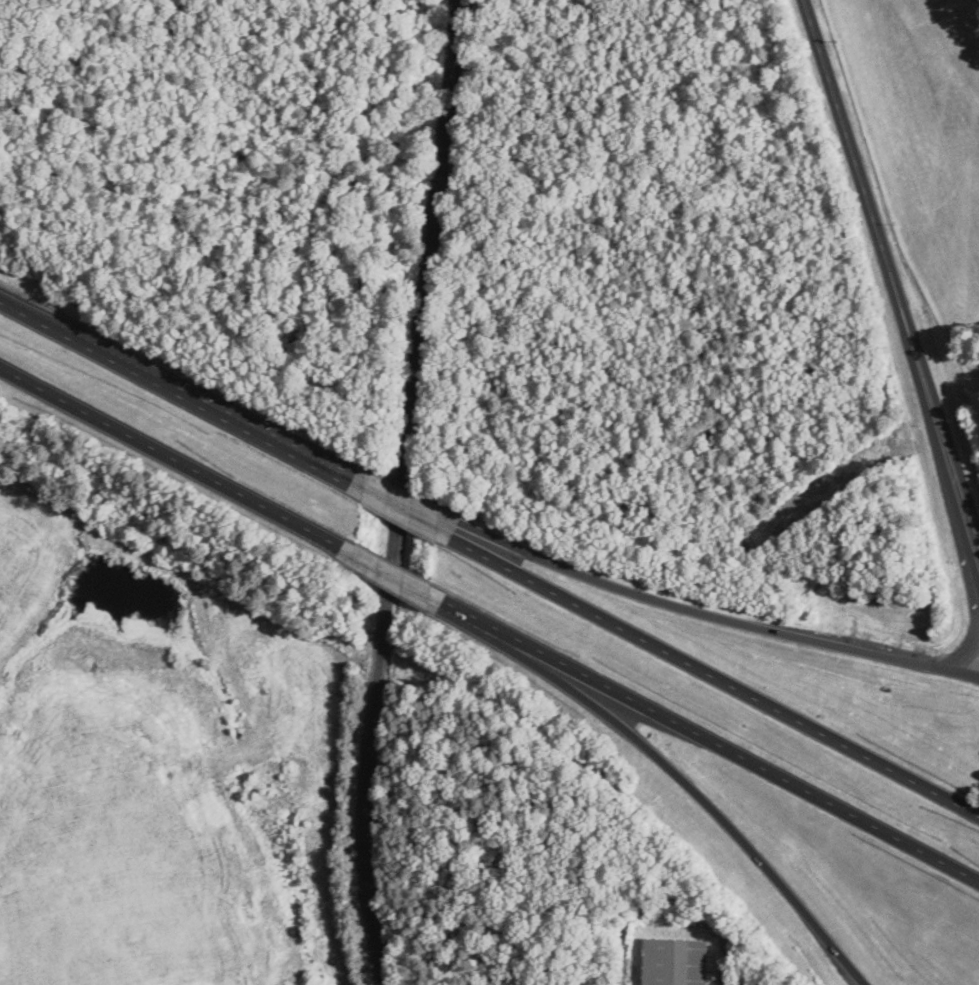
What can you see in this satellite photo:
road: (896, 266)
road: (176, 388)
road: (318, 458)
road: (176, 461)
railway: (408, 492)
road: (417, 502)
road: (410, 513)
road: (403, 581)
road: (717, 614)
road: (722, 680)
road: (718, 741)
road: (704, 789)
building: (682, 962)

